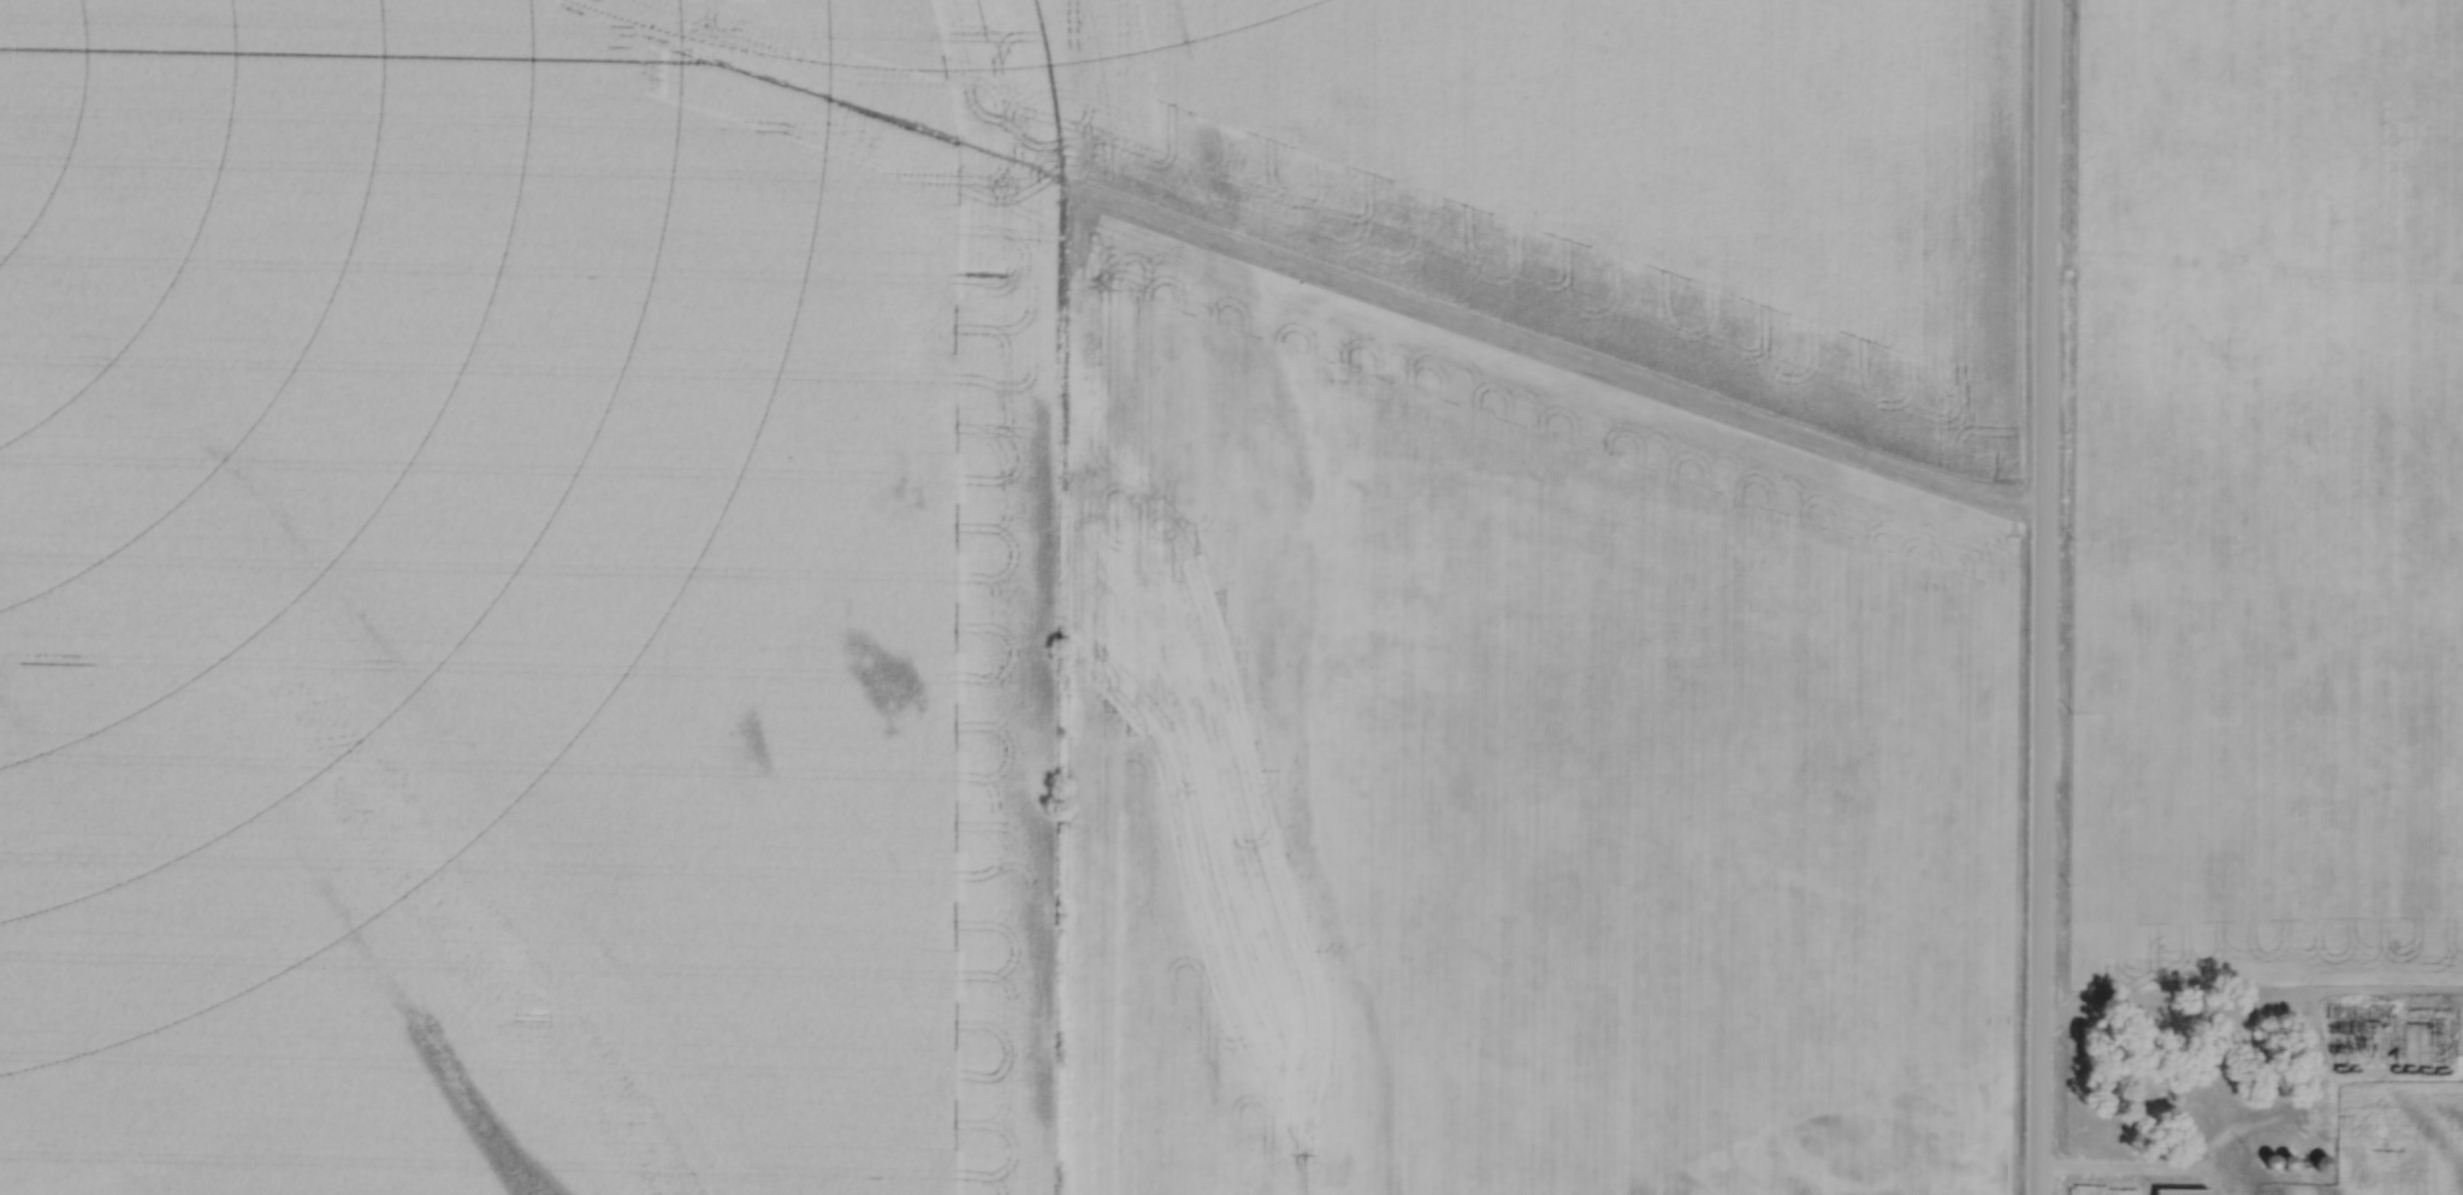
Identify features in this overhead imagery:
road: (2050, 597)
building: (2355, 1007)
building: (2317, 1158)
building: (2173, 1188)

